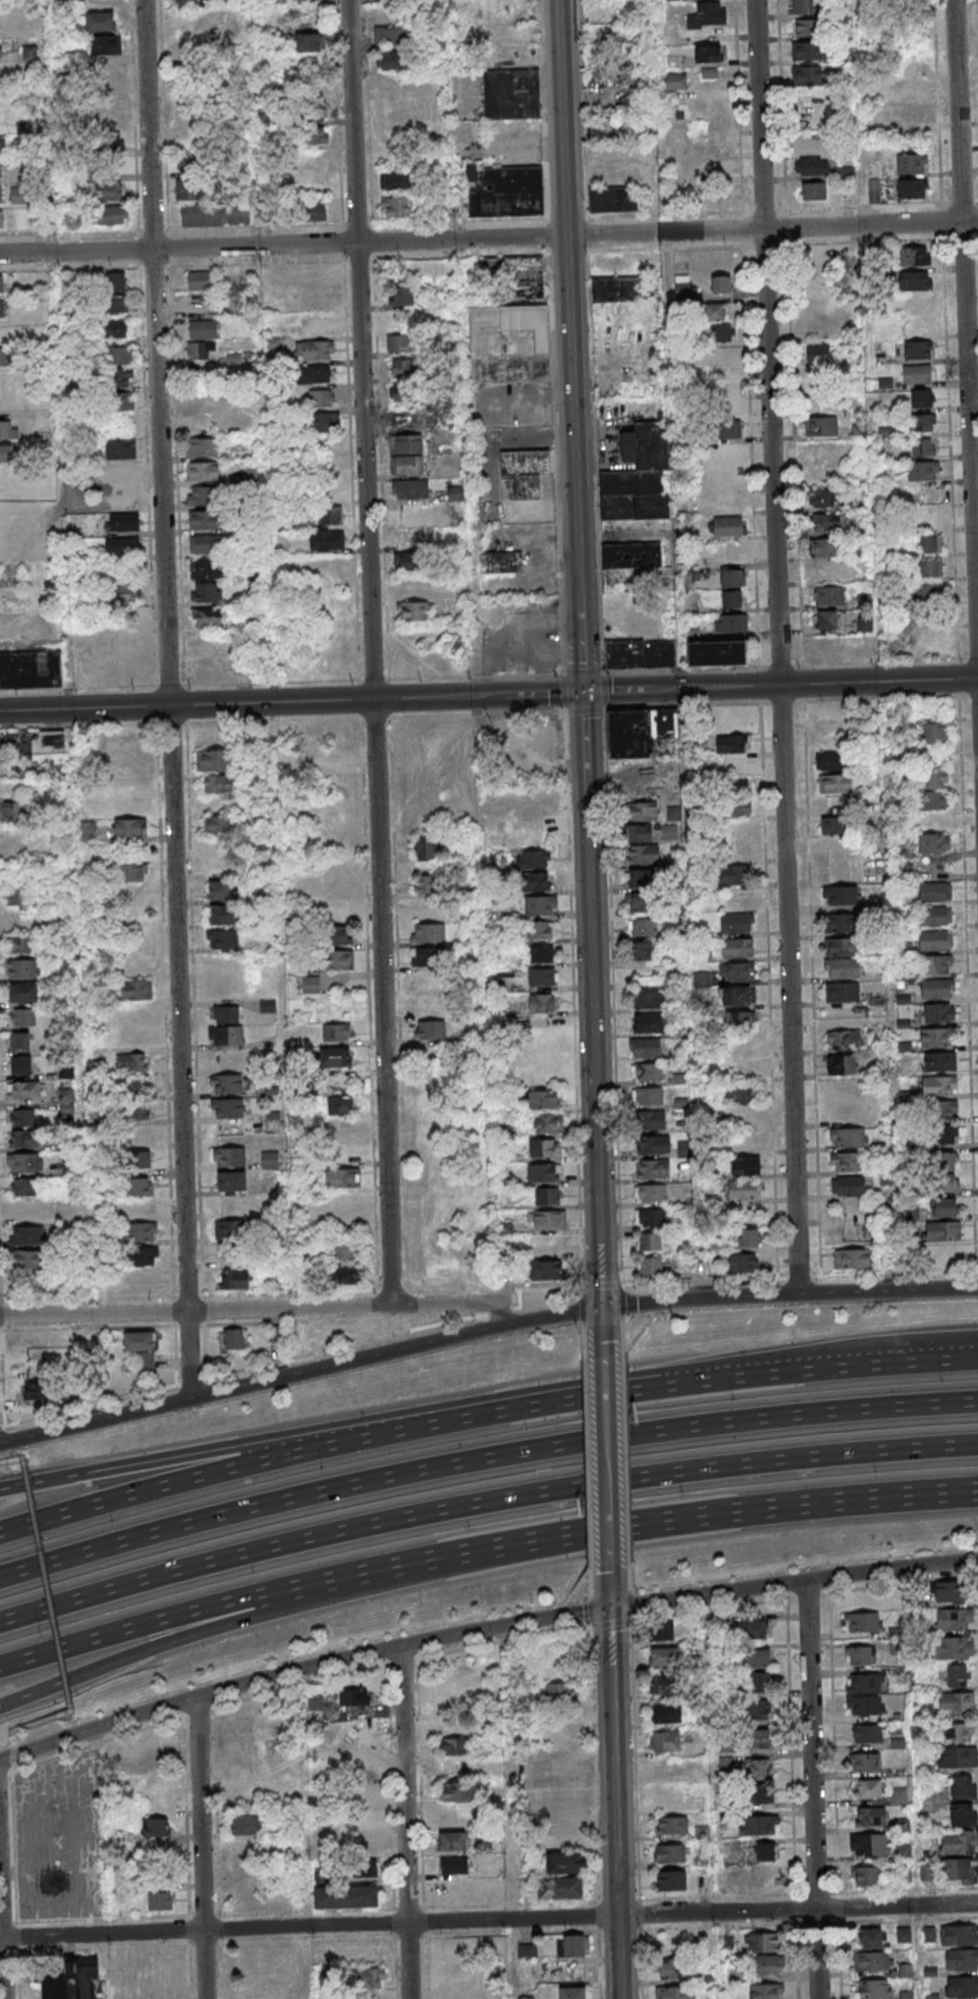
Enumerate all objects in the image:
building: (187, 3)
building: (802, 6)
building: (708, 15)
building: (100, 21)
building: (806, 27)
building: (390, 35)
building: (276, 39)
building: (308, 42)
building: (106, 44)
building: (806, 50)
building: (1, 52)
building: (29, 53)
building: (709, 53)
building: (516, 54)
building: (393, 60)
building: (807, 75)
building: (676, 81)
building: (511, 94)
building: (392, 111)
building: (911, 116)
building: (262, 119)
building: (108, 129)
building: (316, 135)
building: (2, 145)
road: (49, 160)
building: (188, 163)
building: (912, 163)
building: (811, 166)
building: (1, 169)
building: (395, 181)
building: (912, 188)
building: (190, 189)
building: (814, 190)
building: (874, 190)
building: (109, 191)
building: (505, 191)
building: (1, 194)
building: (20, 195)
building: (613, 200)
building: (396, 207)
building: (313, 212)
building: (215, 214)
building: (111, 215)
building: (1, 219)
road: (489, 238)
building: (914, 255)
building: (630, 261)
building: (811, 273)
building: (521, 276)
building: (916, 280)
building: (201, 281)
building: (116, 282)
building: (2, 284)
building: (720, 284)
building: (682, 287)
building: (617, 290)
building: (402, 296)
building: (316, 297)
building: (115, 304)
building: (917, 304)
building: (2, 308)
building: (714, 312)
building: (113, 329)
building: (203, 329)
building: (722, 332)
road: (965, 339)
building: (400, 343)
building: (509, 344)
building: (199, 349)
building: (314, 349)
building: (918, 350)
road: (262, 351)
building: (816, 355)
building: (2, 356)
building: (116, 356)
building: (404, 368)
building: (317, 373)
building: (917, 374)
building: (120, 378)
building: (402, 392)
building: (320, 398)
building: (923, 398)
building: (123, 404)
building: (324, 422)
building: (923, 422)
building: (821, 426)
building: (723, 427)
building: (8, 430)
building: (406, 443)
building: (924, 446)
building: (202, 447)
building: (121, 449)
building: (6, 454)
building: (406, 464)
building: (203, 471)
building: (526, 471)
building: (923, 471)
building: (119, 473)
building: (250, 474)
building: (639, 476)
road: (675, 479)
building: (410, 489)
building: (455, 493)
building: (203, 496)
building: (822, 499)
building: (327, 516)
building: (204, 519)
building: (122, 522)
building: (829, 523)
building: (728, 526)
building: (326, 540)
building: (204, 543)
building: (929, 544)
building: (125, 546)
building: (824, 547)
building: (889, 550)
building: (859, 553)
building: (407, 561)
building: (501, 562)
building: (631, 567)
building: (205, 568)
building: (929, 568)
building: (731, 589)
building: (206, 592)
building: (125, 593)
building: (927, 594)
building: (827, 596)
building: (414, 611)
building: (206, 616)
building: (825, 620)
building: (730, 622)
building: (864, 625)
road: (879, 645)
road: (778, 646)
building: (717, 652)
road: (370, 653)
road: (581, 654)
building: (640, 654)
building: (31, 671)
road: (489, 677)
road: (808, 684)
road: (580, 692)
traffic signals: (582, 692)
road: (972, 695)
road: (881, 698)
road: (168, 699)
road: (260, 702)
road: (783, 703)
road: (688, 705)
road: (585, 709)
road: (478, 714)
building: (640, 730)
building: (934, 733)
building: (48, 742)
building: (730, 743)
building: (335, 759)
building: (216, 760)
building: (831, 760)
road: (480, 771)
building: (218, 783)
building: (835, 783)
building: (934, 789)
building: (740, 807)
building: (642, 811)
building: (13, 812)
building: (536, 816)
building: (217, 825)
building: (834, 825)
building: (88, 829)
building: (129, 829)
building: (639, 832)
building: (934, 843)
building: (427, 848)
building: (642, 854)
building: (533, 859)
building: (904, 870)
building: (131, 873)
building: (736, 875)
building: (642, 878)
building: (536, 882)
building: (426, 884)
building: (219, 890)
building: (934, 891)
building: (841, 895)
building: (18, 896)
building: (640, 904)
building: (540, 906)
building: (224, 914)
building: (935, 916)
building: (736, 922)
building: (840, 922)
building: (641, 928)
building: (540, 931)
building: (428, 932)
building: (340, 934)
building: (223, 938)
building: (935, 939)
building: (21, 944)
building: (840, 947)
building: (737, 948)
building: (641, 951)
building: (541, 954)
building: (429, 956)
building: (338, 959)
building: (936, 964)
building: (841, 968)
building: (22, 969)
building: (739, 970)
building: (541, 977)
building: (702, 979)
building: (311, 984)
building: (937, 988)
building: (134, 990)
building: (23, 992)
building: (842, 992)
building: (737, 996)
road: (612, 997)
road: (574, 998)
building: (648, 1000)
building: (541, 1003)
road: (78, 1012)
building: (938, 1012)
building: (226, 1014)
building: (23, 1017)
building: (739, 1020)
building: (648, 1024)
building: (429, 1029)
building: (337, 1032)
building: (226, 1035)
building: (937, 1036)
building: (21, 1040)
building: (843, 1040)
building: (644, 1047)
building: (546, 1050)
building: (335, 1057)
building: (940, 1061)
building: (132, 1062)
building: (21, 1064)
building: (841, 1064)
building: (647, 1071)
building: (227, 1083)
building: (135, 1085)
building: (939, 1085)
building: (23, 1090)
building: (739, 1093)
building: (647, 1095)
building: (542, 1100)
building: (340, 1105)
building: (227, 1108)
building: (946, 1108)
building: (136, 1111)
building: (23, 1117)
building: (651, 1120)
building: (548, 1123)
building: (943, 1134)
building: (848, 1137)
building: (24, 1138)
building: (654, 1145)
building: (543, 1148)
building: (229, 1157)
building: (140, 1160)
building: (270, 1160)
building: (848, 1161)
building: (25, 1162)
building: (745, 1165)
building: (652, 1169)
building: (542, 1172)
building: (946, 1172)
building: (343, 1177)
building: (231, 1180)
building: (848, 1186)
building: (21, 1187)
building: (139, 1187)
building: (744, 1189)
building: (650, 1193)
building: (547, 1196)
building: (943, 1209)
building: (27, 1211)
building: (651, 1217)
building: (549, 1219)
building: (231, 1229)
building: (943, 1231)
building: (139, 1232)
building: (851, 1233)
building: (27, 1235)
building: (749, 1237)
building: (649, 1242)
building: (346, 1251)
building: (143, 1256)
building: (852, 1258)
building: (27, 1259)
building: (743, 1262)
building: (650, 1267)
building: (547, 1271)
building: (344, 1276)
building: (234, 1279)
building: (278, 1283)
road: (601, 1286)
road: (740, 1297)
road: (620, 1301)
road: (583, 1304)
road: (457, 1305)
traffic signals: (604, 1309)
road: (196, 1311)
road: (604, 1333)
road: (621, 1334)
building: (233, 1338)
road: (583, 1340)
building: (35, 1344)
building: (141, 1348)
road: (731, 1376)
road: (252, 1384)
building: (36, 1390)
road: (443, 1418)
road: (200, 1455)
road: (483, 1456)
road: (624, 1457)
road: (11, 1461)
road: (608, 1462)
road: (587, 1463)
road: (200, 1477)
road: (483, 1500)
road: (669, 1519)
road: (628, 1576)
road: (308, 1582)
road: (591, 1583)
road: (903, 1584)
road: (47, 1586)
building: (950, 1593)
road: (811, 1595)
road: (310, 1597)
road: (629, 1605)
traffic signals: (612, 1608)
road: (709, 1610)
road: (592, 1612)
building: (955, 1619)
building: (863, 1622)
road: (610, 1624)
road: (125, 1627)
road: (489, 1629)
building: (755, 1629)
building: (662, 1631)
building: (955, 1648)
road: (124, 1654)
building: (860, 1655)
building: (664, 1656)
building: (760, 1658)
building: (953, 1674)
building: (759, 1682)
building: (865, 1682)
building: (663, 1685)
building: (559, 1693)
building: (353, 1698)
building: (453, 1698)
building: (956, 1701)
building: (314, 1704)
building: (865, 1704)
building: (759, 1710)
road: (199, 1713)
building: (666, 1713)
building: (449, 1722)
road: (42, 1723)
building: (242, 1725)
building: (354, 1725)
building: (958, 1732)
building: (869, 1734)
road: (13, 1739)
building: (760, 1739)
building: (665, 1741)
road: (97, 1745)
building: (456, 1746)
road: (13, 1751)
building: (127, 1755)
building: (958, 1757)
road: (6, 1758)
road: (634, 1761)
building: (864, 1762)
road: (12, 1764)
road: (594, 1765)
building: (563, 1768)
building: (455, 1769)
building: (759, 1769)
road: (6, 1775)
road: (614, 1783)
building: (963, 1786)
road: (814, 1789)
building: (868, 1789)
building: (455, 1791)
building: (671, 1795)
building: (759, 1795)
building: (900, 1795)
building: (365, 1797)
building: (570, 1806)
building: (964, 1814)
building: (870, 1816)
road: (404, 1823)
building: (245, 1824)
building: (670, 1825)
building: (759, 1825)
building: (155, 1827)
building: (565, 1836)
parking lot: (61, 1840)
building: (451, 1840)
building: (959, 1842)
building: (364, 1845)
building: (870, 1845)
road: (200, 1848)
building: (760, 1851)
building: (670, 1852)
building: (566, 1863)
building: (453, 1864)
building: (348, 1870)
building: (959, 1870)
building: (927, 1872)
building: (903, 1876)
building: (865, 1877)
building: (670, 1880)
building: (560, 1888)
road: (835, 1894)
building: (346, 1897)
road: (717, 1898)
building: (160, 1901)
road: (616, 1901)
road: (596, 1914)
road: (638, 1914)
road: (488, 1920)
road: (718, 1925)
road: (618, 1927)
building: (904, 1934)
building: (959, 1935)
building: (872, 1938)
building: (676, 1943)
building: (762, 1943)
building: (570, 1945)
road: (840, 1946)
building: (527, 1951)
road: (1, 1955)
building: (872, 1961)
building: (962, 1962)
road: (598, 1963)
road: (641, 1963)
building: (767, 1966)
building: (676, 1968)
building: (904, 1970)
building: (530, 1971)
building: (370, 1978)
building: (73, 1981)
building: (875, 1988)
building: (962, 1988)
building: (766, 1991)
building: (573, 1992)
building: (675, 1992)
building: (906, 1995)
building: (933, 1996)

